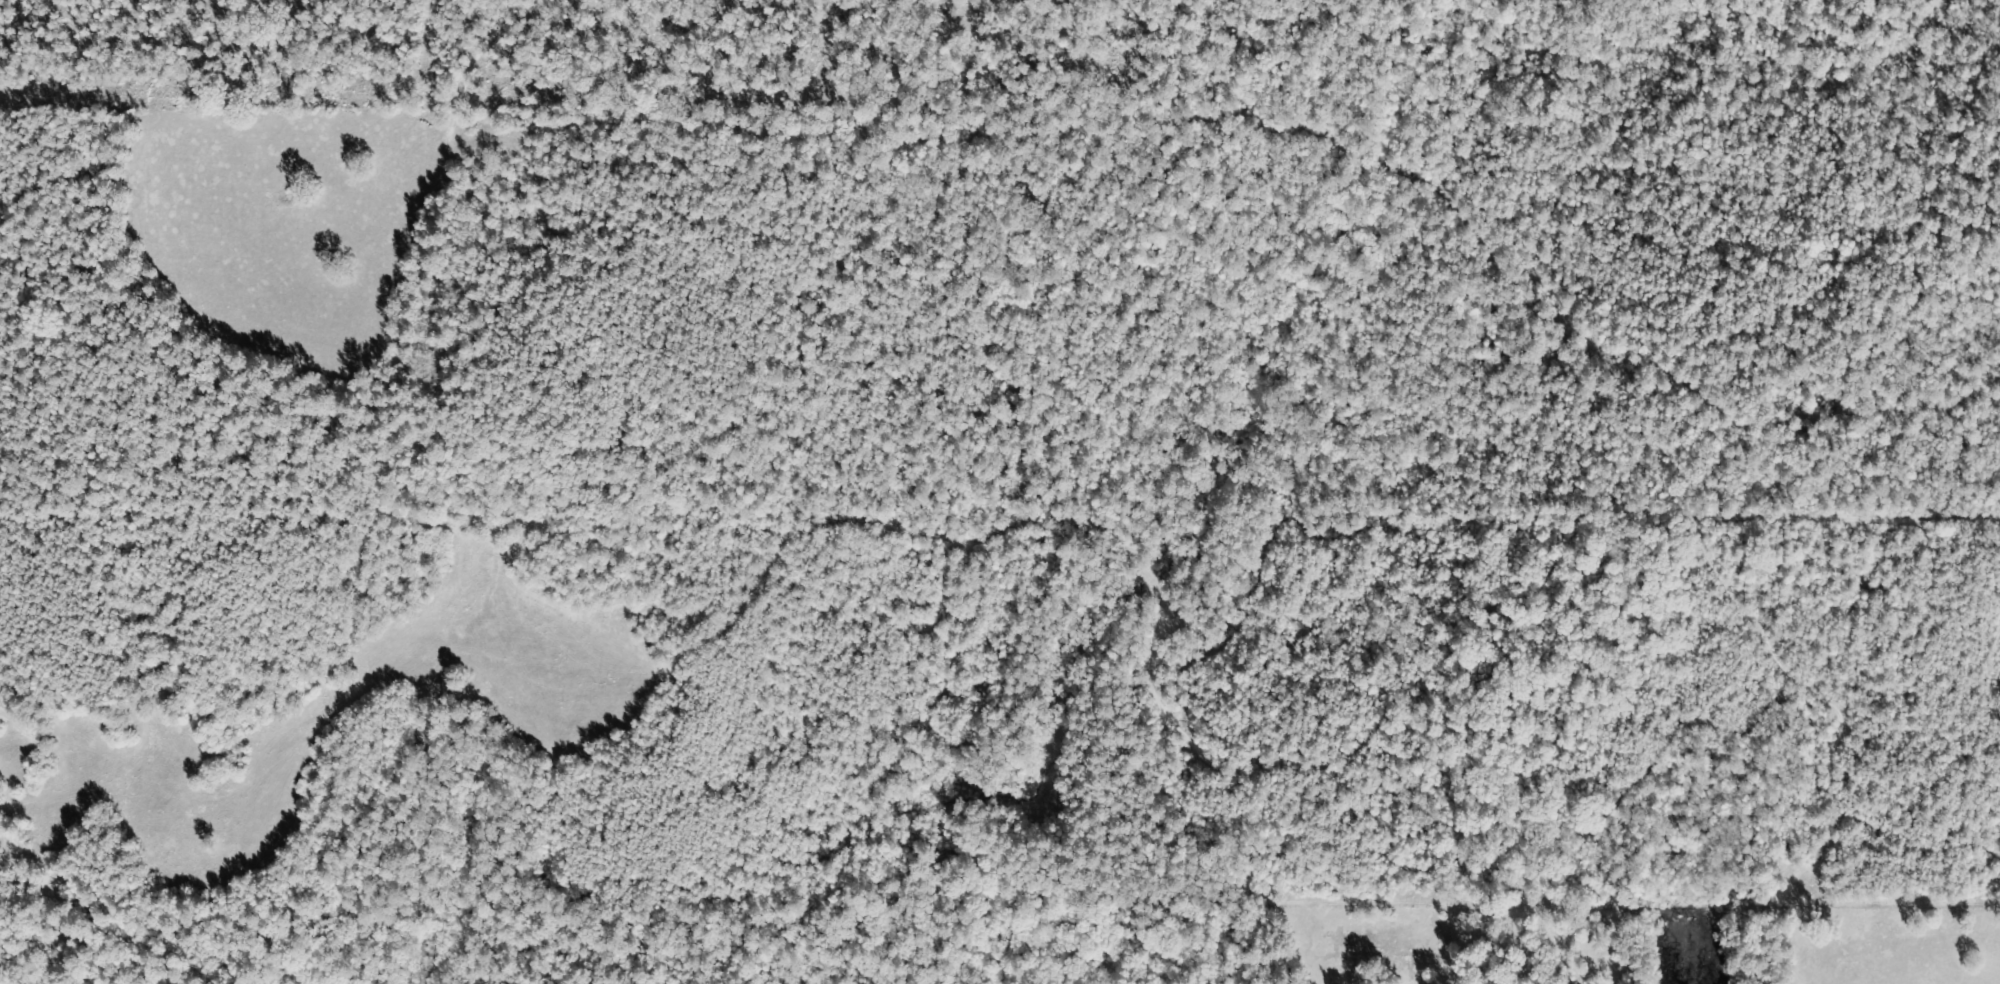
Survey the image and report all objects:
road: (485, 44)
road: (1305, 636)
road: (23, 868)

